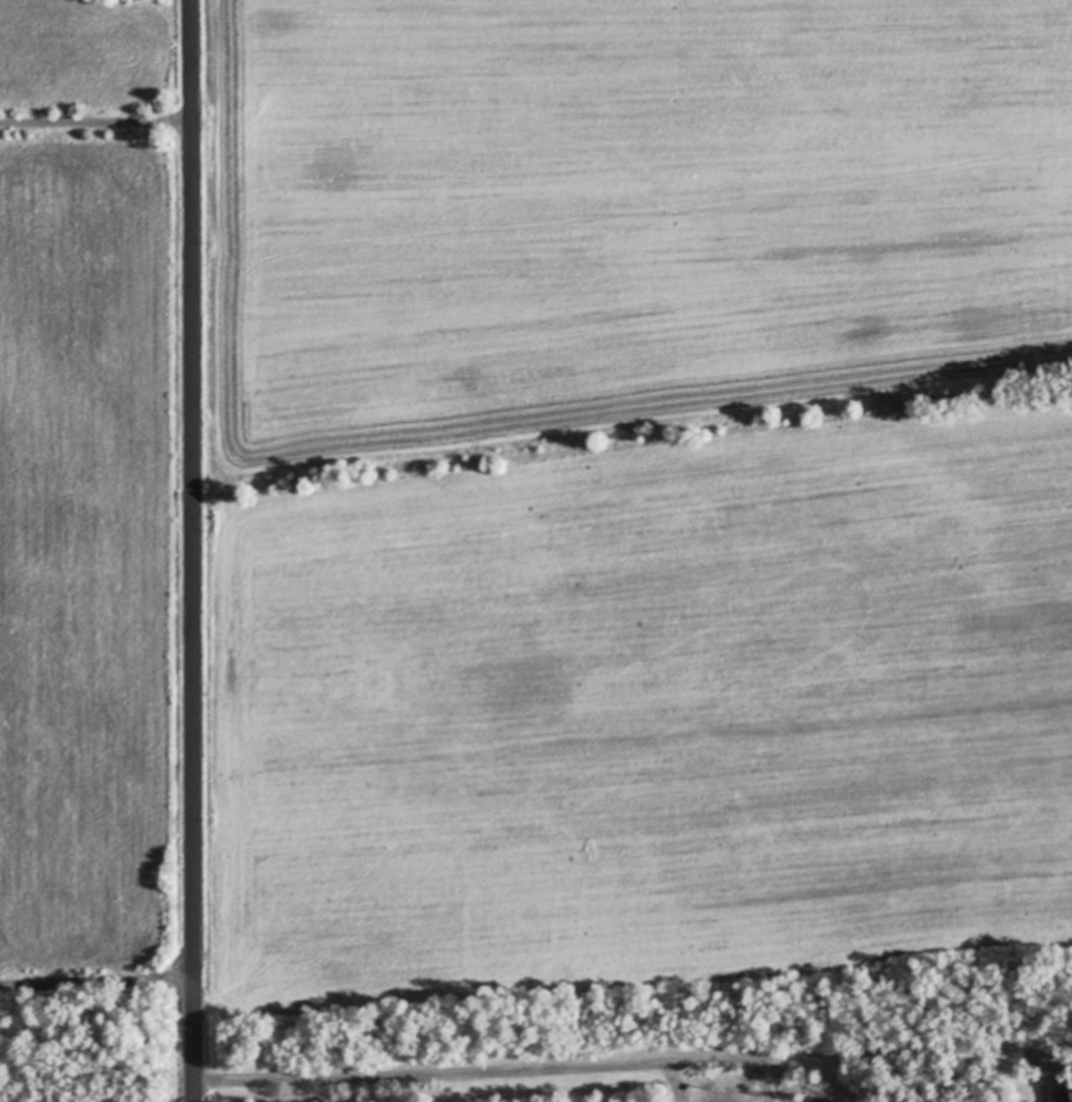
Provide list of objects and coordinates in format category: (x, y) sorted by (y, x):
road: (96, 120)
road: (193, 550)
road: (97, 984)
road: (618, 1064)
road: (762, 1080)
road: (676, 1081)
building: (1062, 1094)

